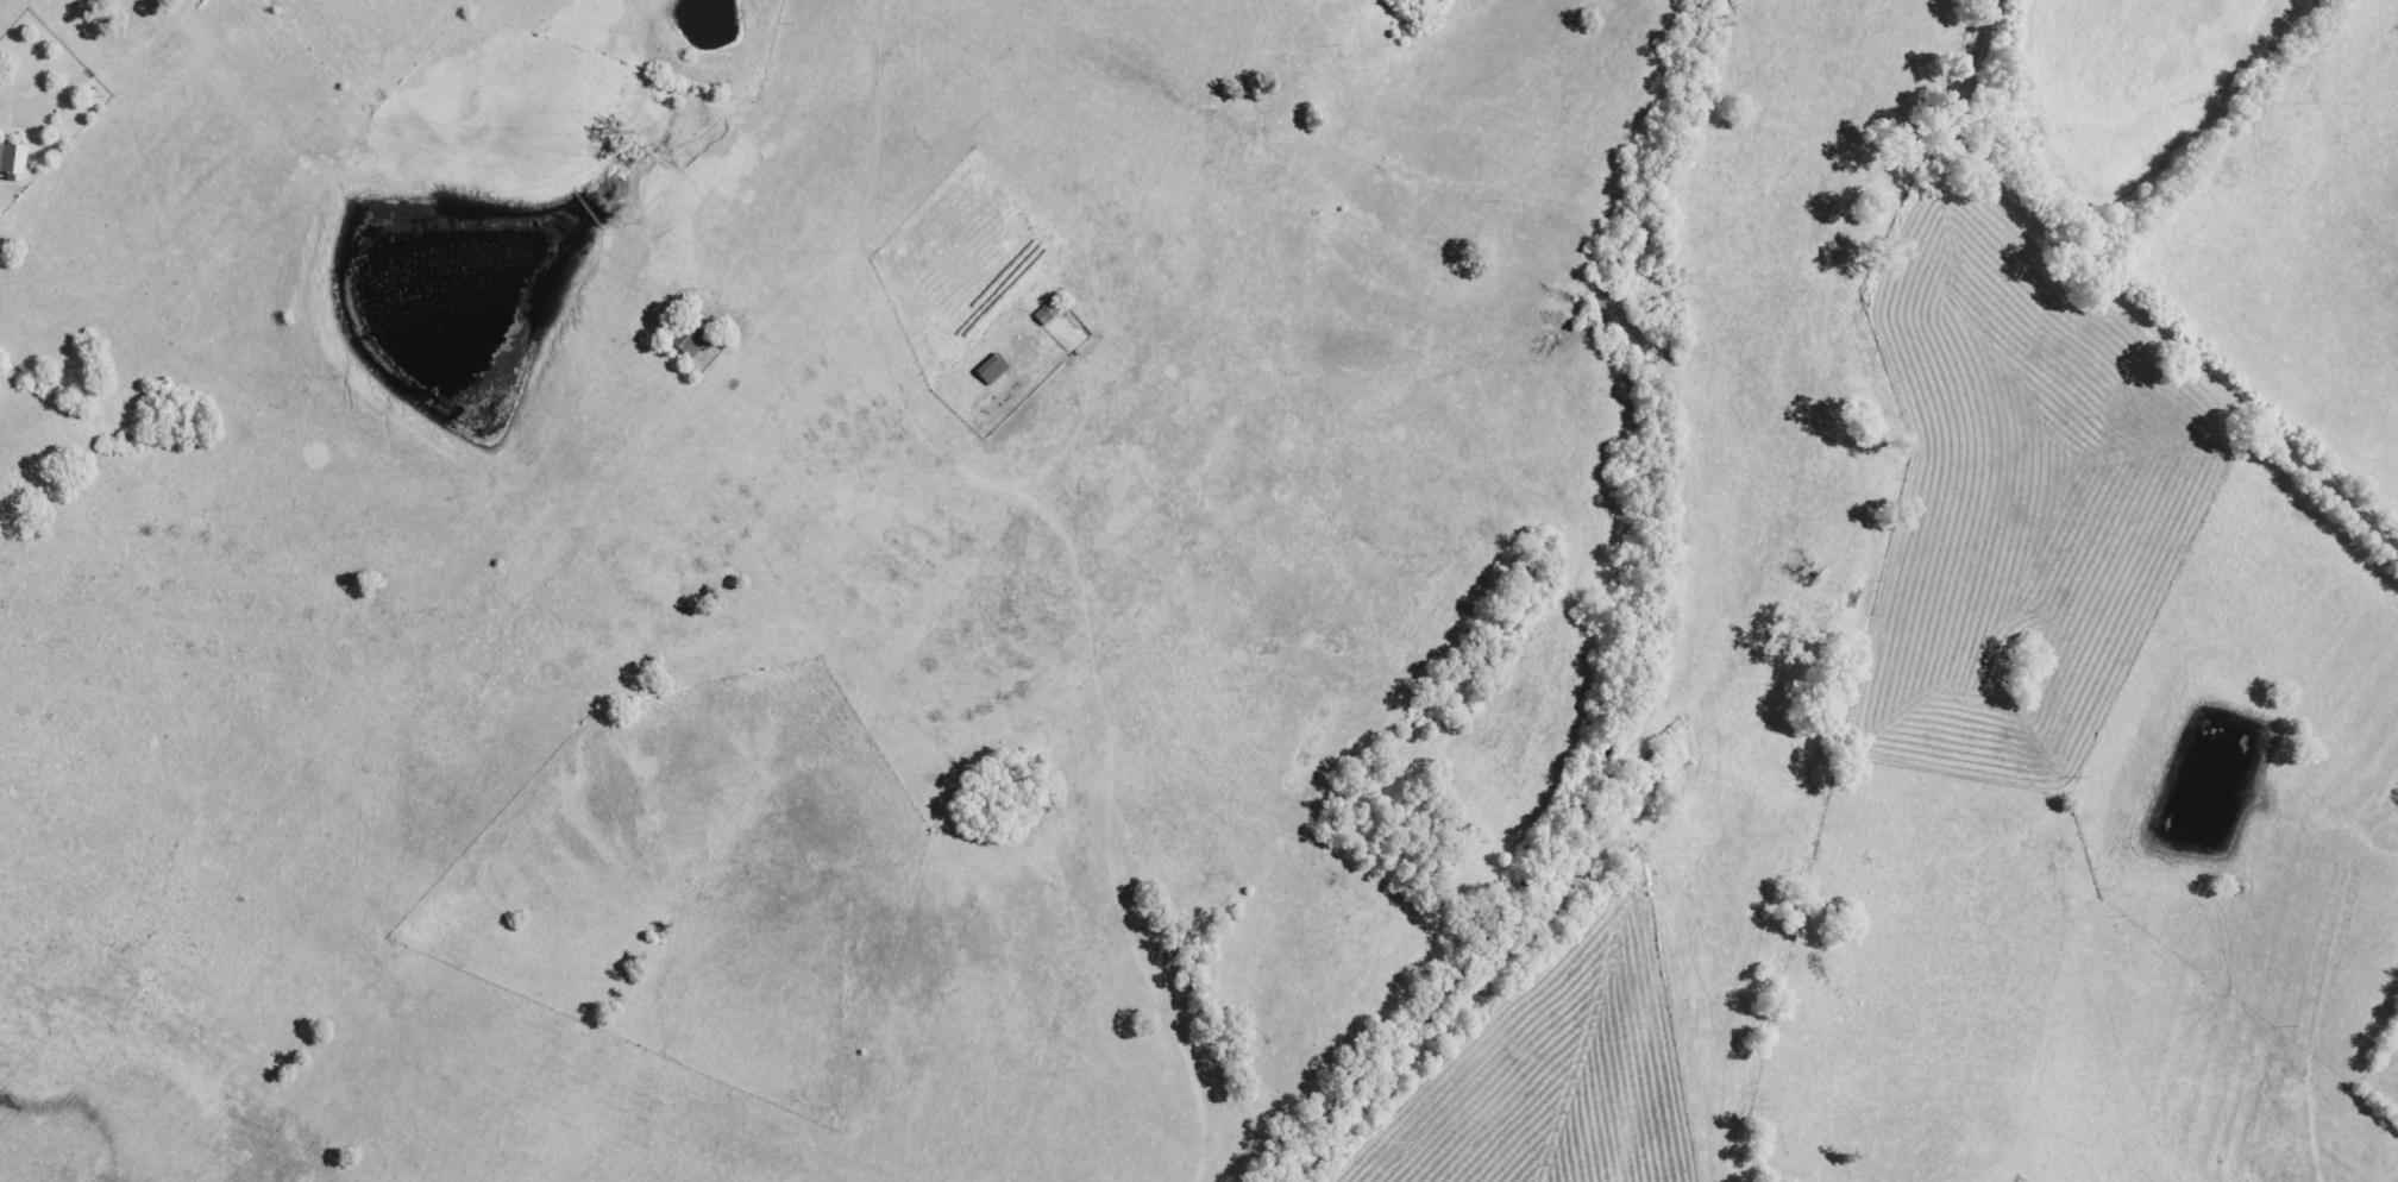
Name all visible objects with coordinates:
road: (2124, 294)
building: (689, 341)
building: (991, 370)

